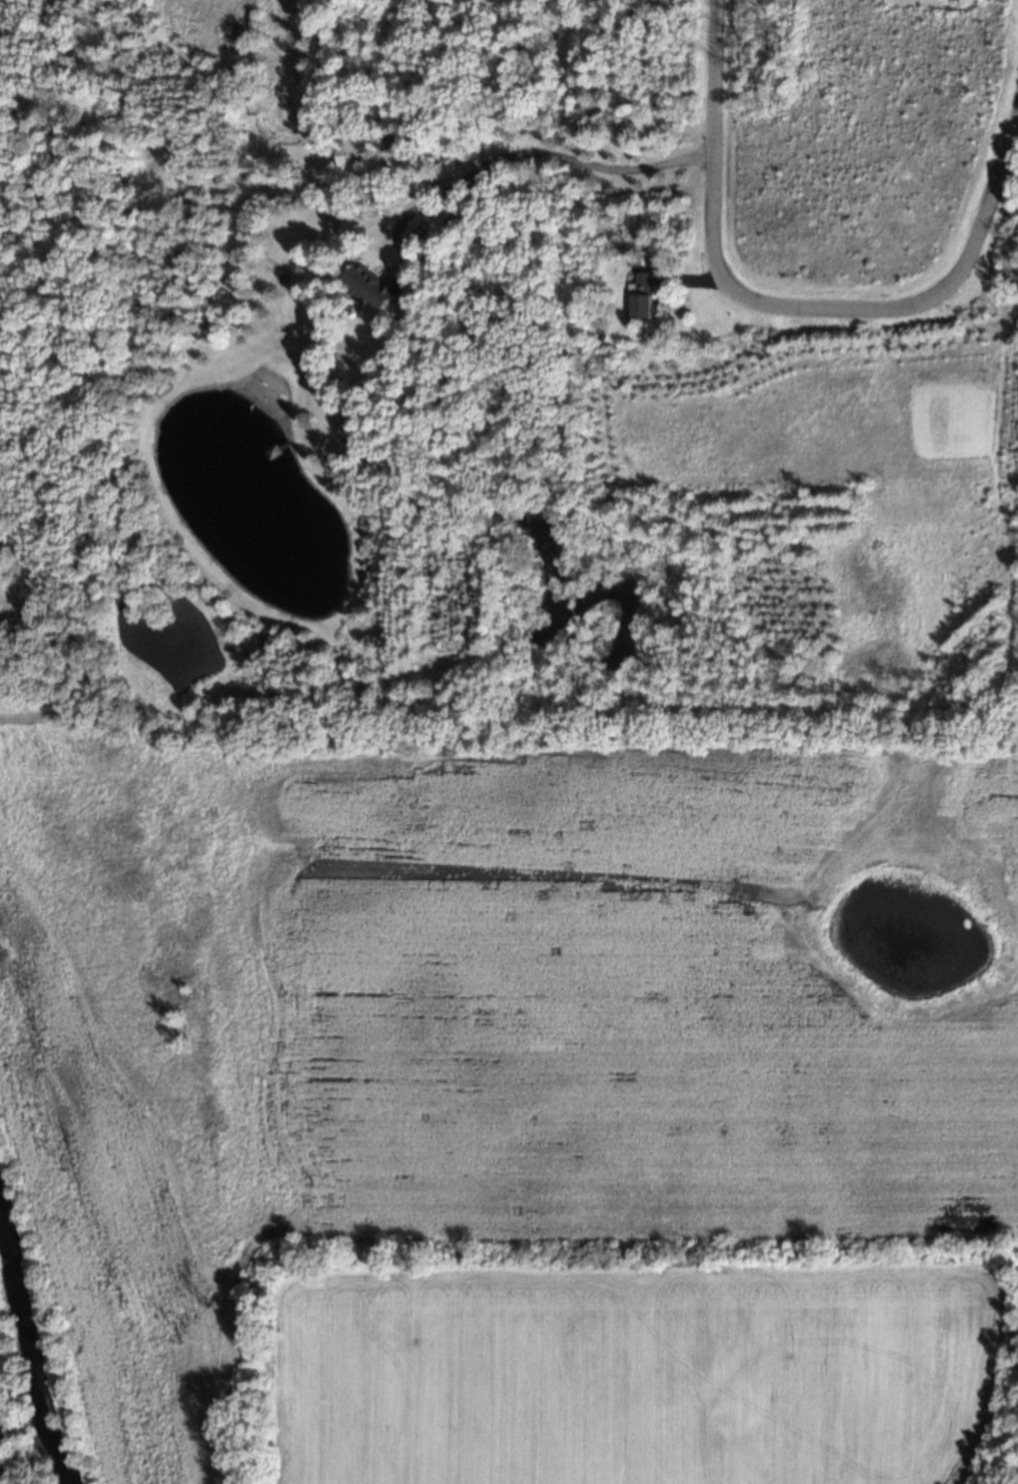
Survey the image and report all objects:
building: (357, 156)
road: (711, 156)
road: (472, 171)
building: (372, 286)
building: (644, 297)
road: (923, 315)
crop: (528, 1113)
crop: (2, 1476)

